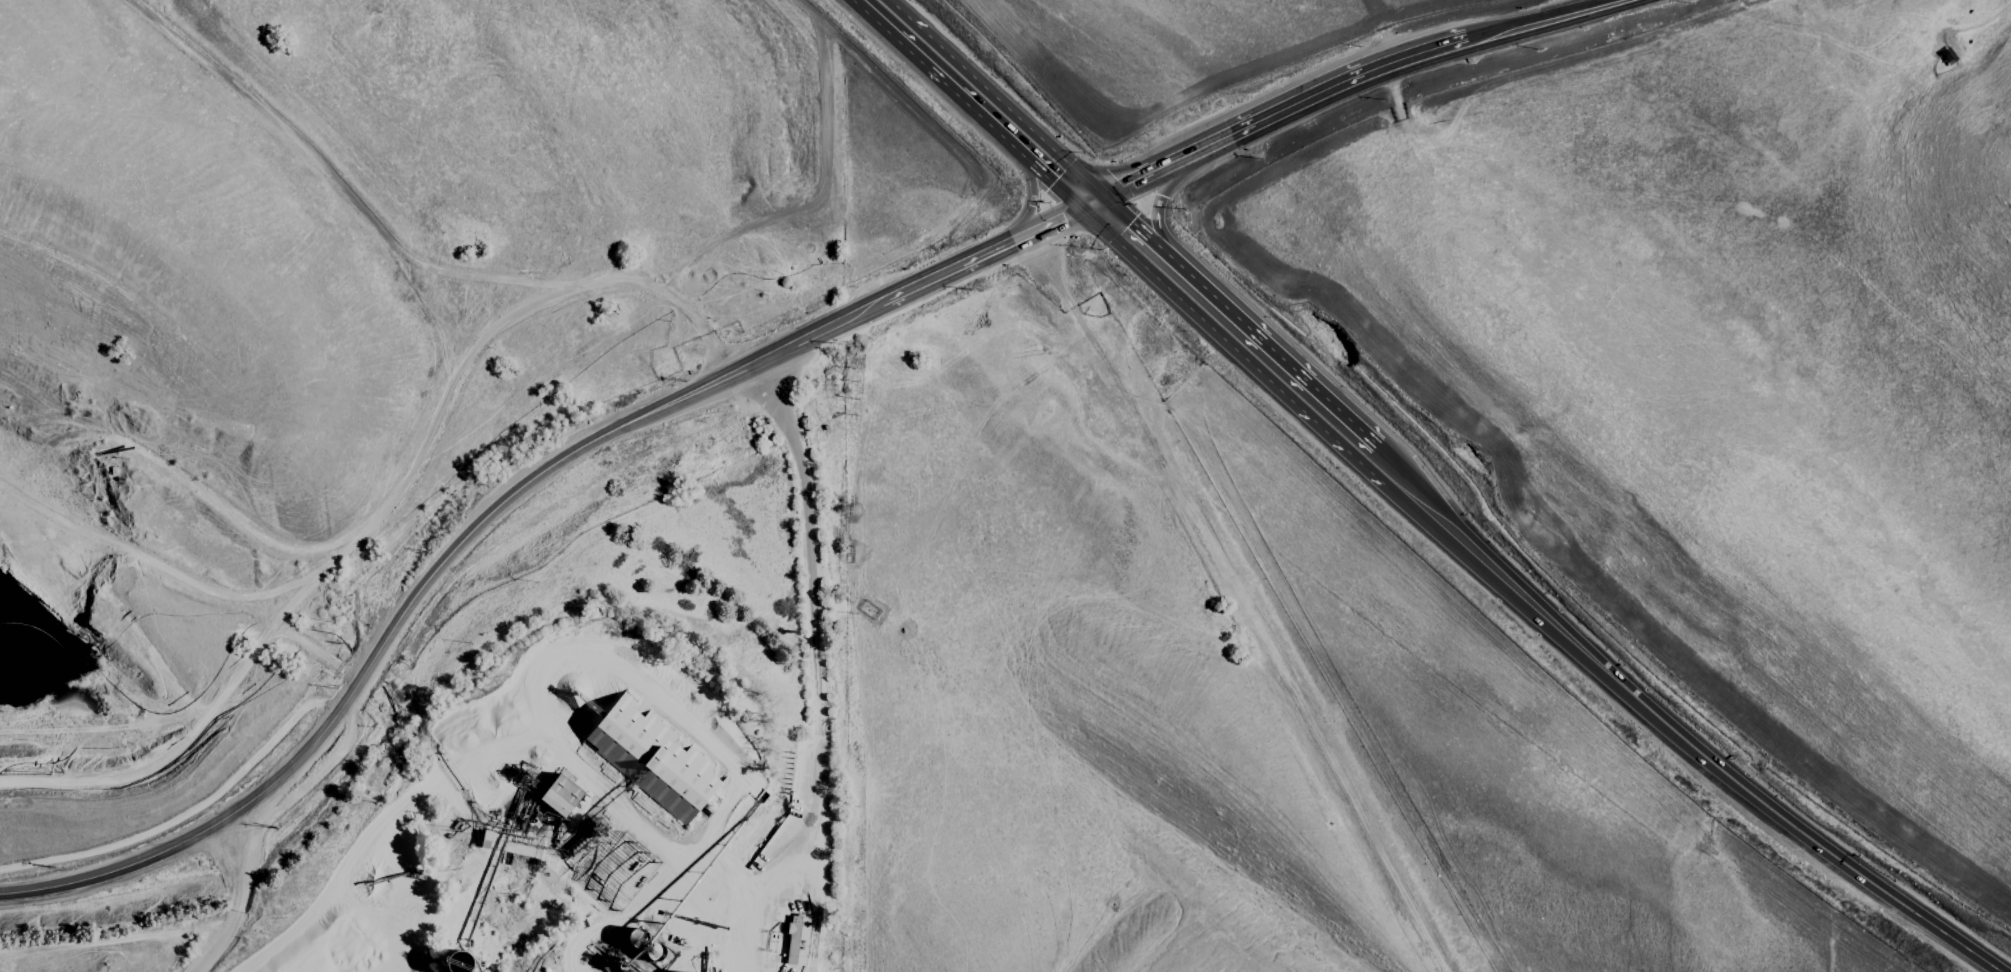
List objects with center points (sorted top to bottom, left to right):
road: (953, 73)
road: (1346, 80)
road: (1063, 174)
road: (1034, 194)
traffic signals: (1093, 202)
road: (1152, 207)
road: (1127, 234)
road: (1283, 380)
crop: (1216, 436)
road: (508, 509)
road: (816, 676)
road: (1690, 747)
building: (652, 758)
building: (560, 795)
road: (233, 904)
building: (796, 940)

